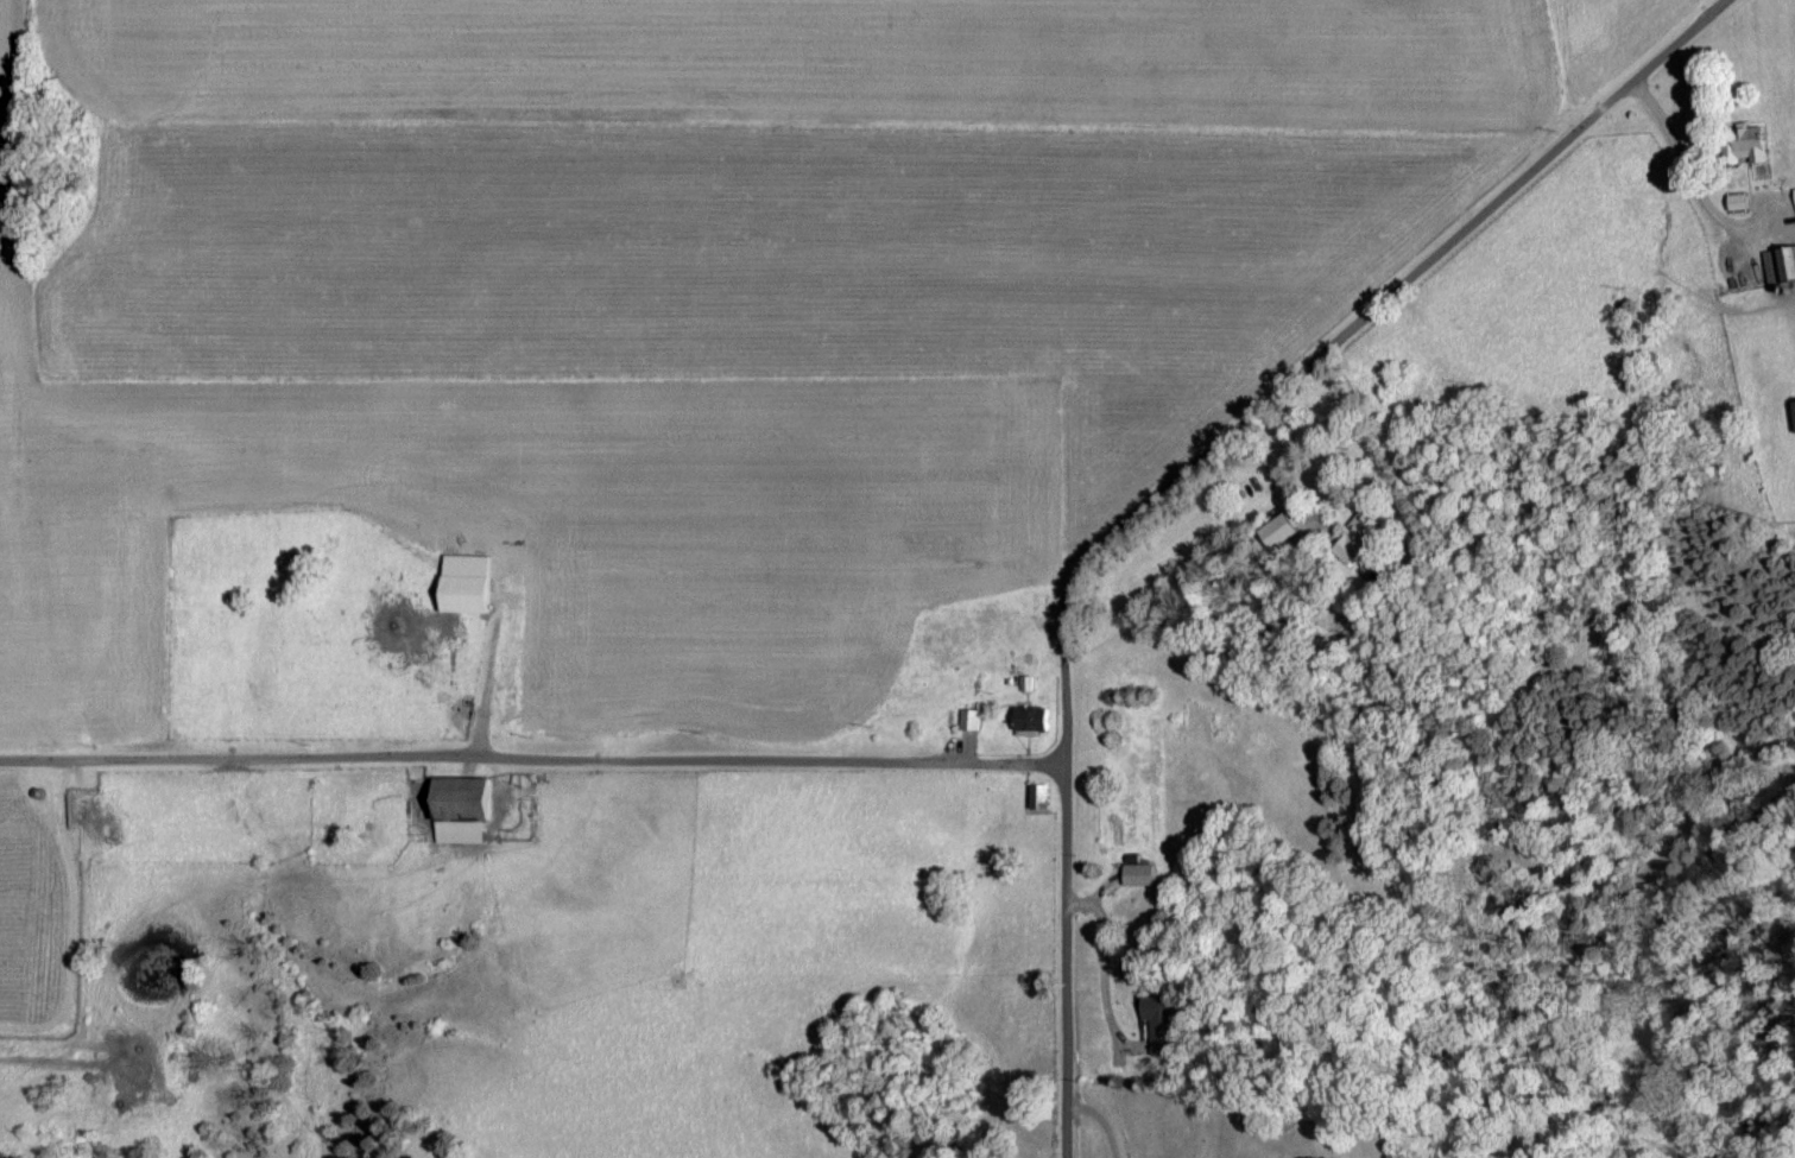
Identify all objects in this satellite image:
building: (1745, 145)
road: (1682, 164)
building: (1793, 198)
building: (1734, 203)
building: (1778, 266)
road: (1328, 352)
building: (1791, 416)
crop: (665, 486)
building: (1355, 542)
building: (461, 596)
building: (967, 721)
building: (1026, 722)
road: (531, 762)
building: (459, 811)
building: (1134, 875)
road: (1102, 970)
road: (1064, 973)
building: (1155, 1017)

